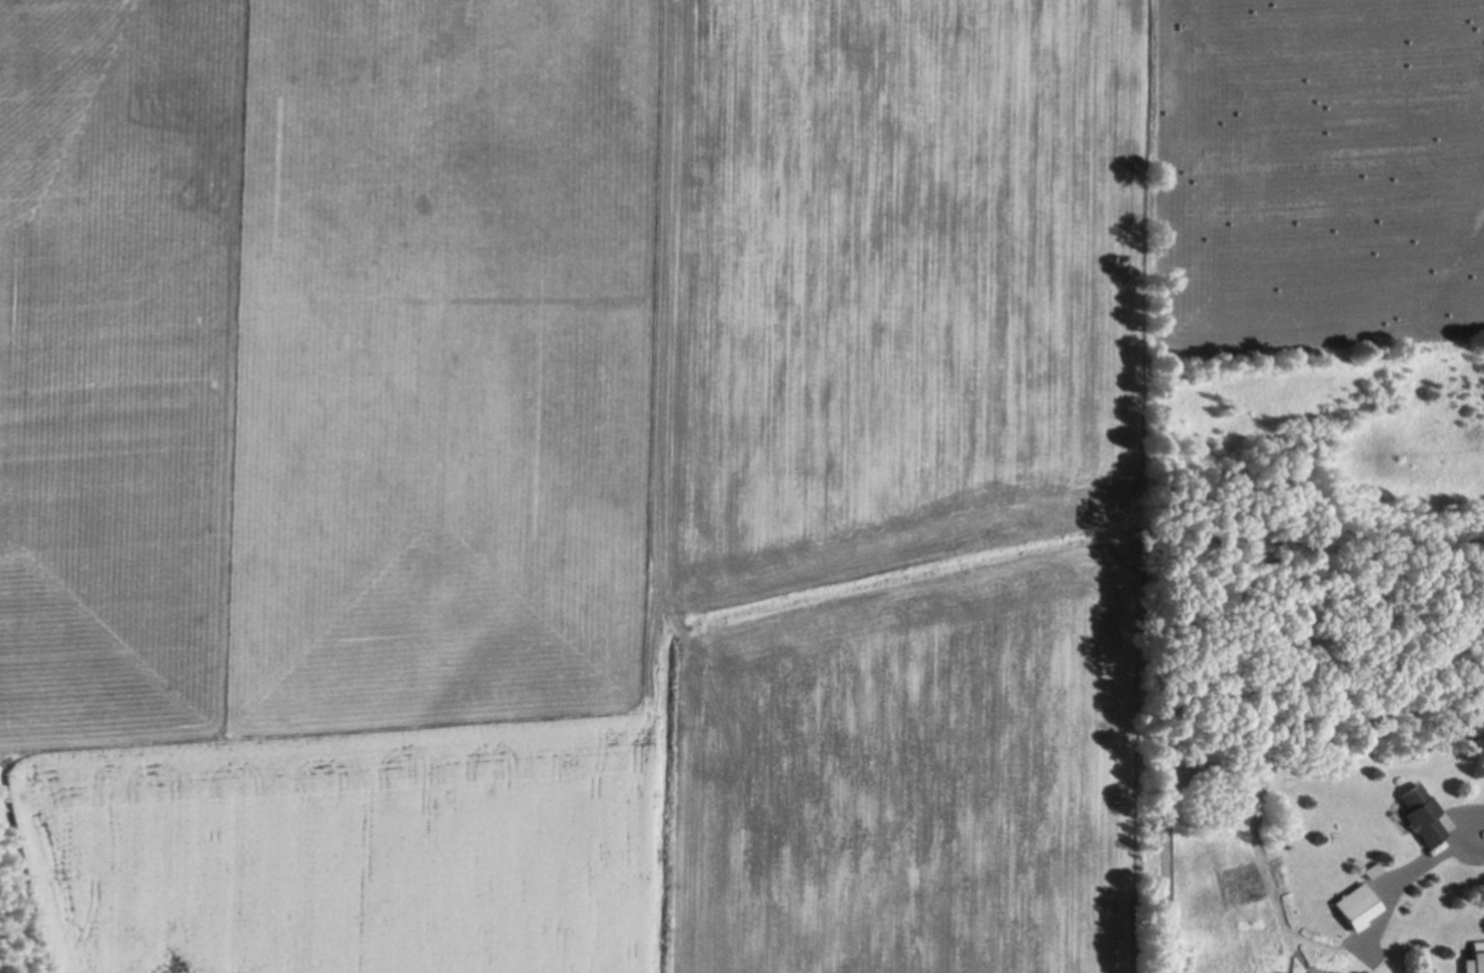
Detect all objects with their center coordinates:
crop: (646, 454)
building: (1422, 814)
building: (1357, 905)
building: (1476, 958)

